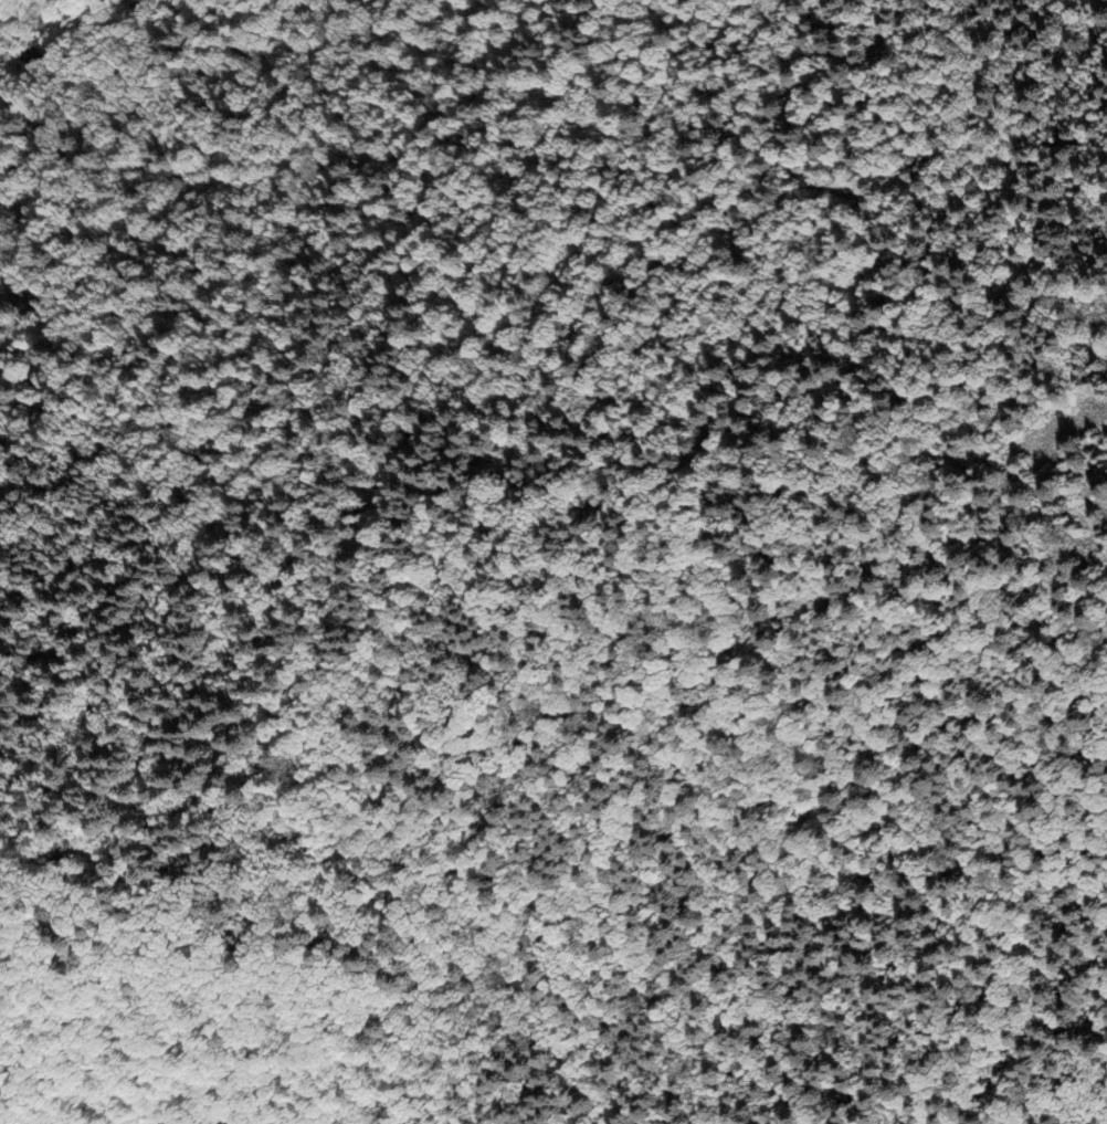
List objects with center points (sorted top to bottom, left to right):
road: (349, 601)

